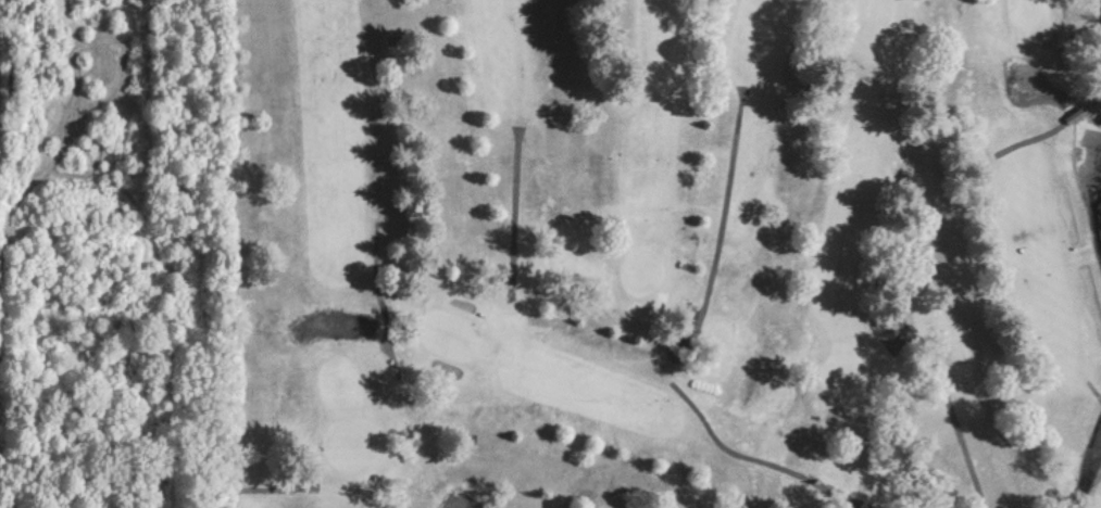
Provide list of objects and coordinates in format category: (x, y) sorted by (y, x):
park: (661, 254)

